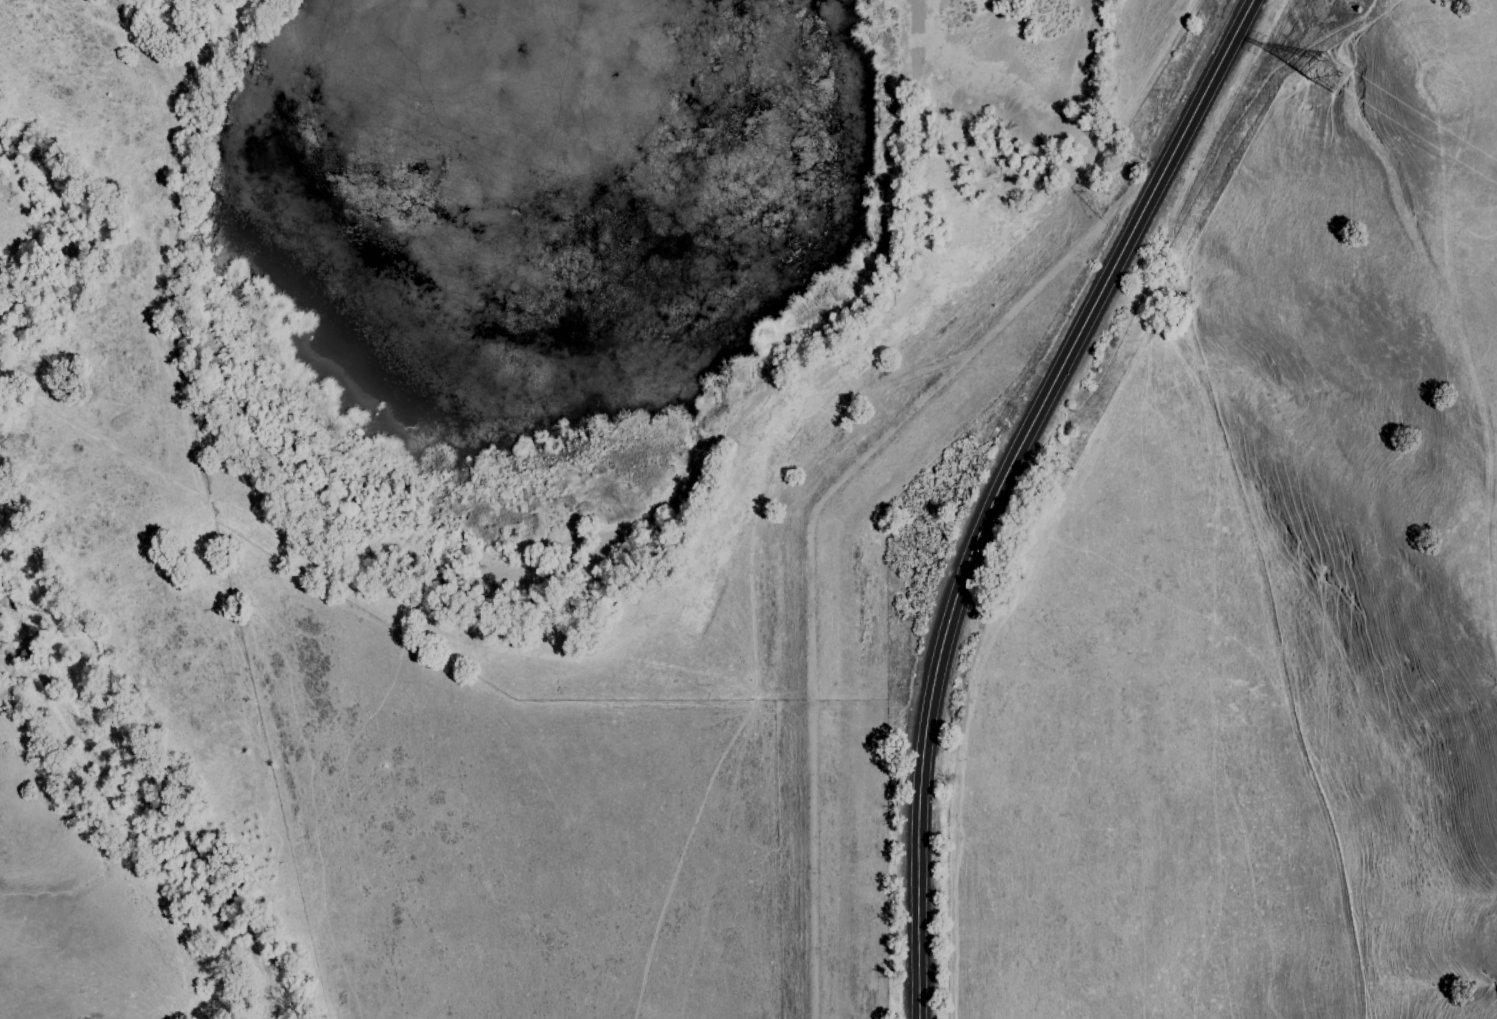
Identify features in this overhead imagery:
power tower: (1335, 79)
park: (1382, 473)
road: (1009, 486)

